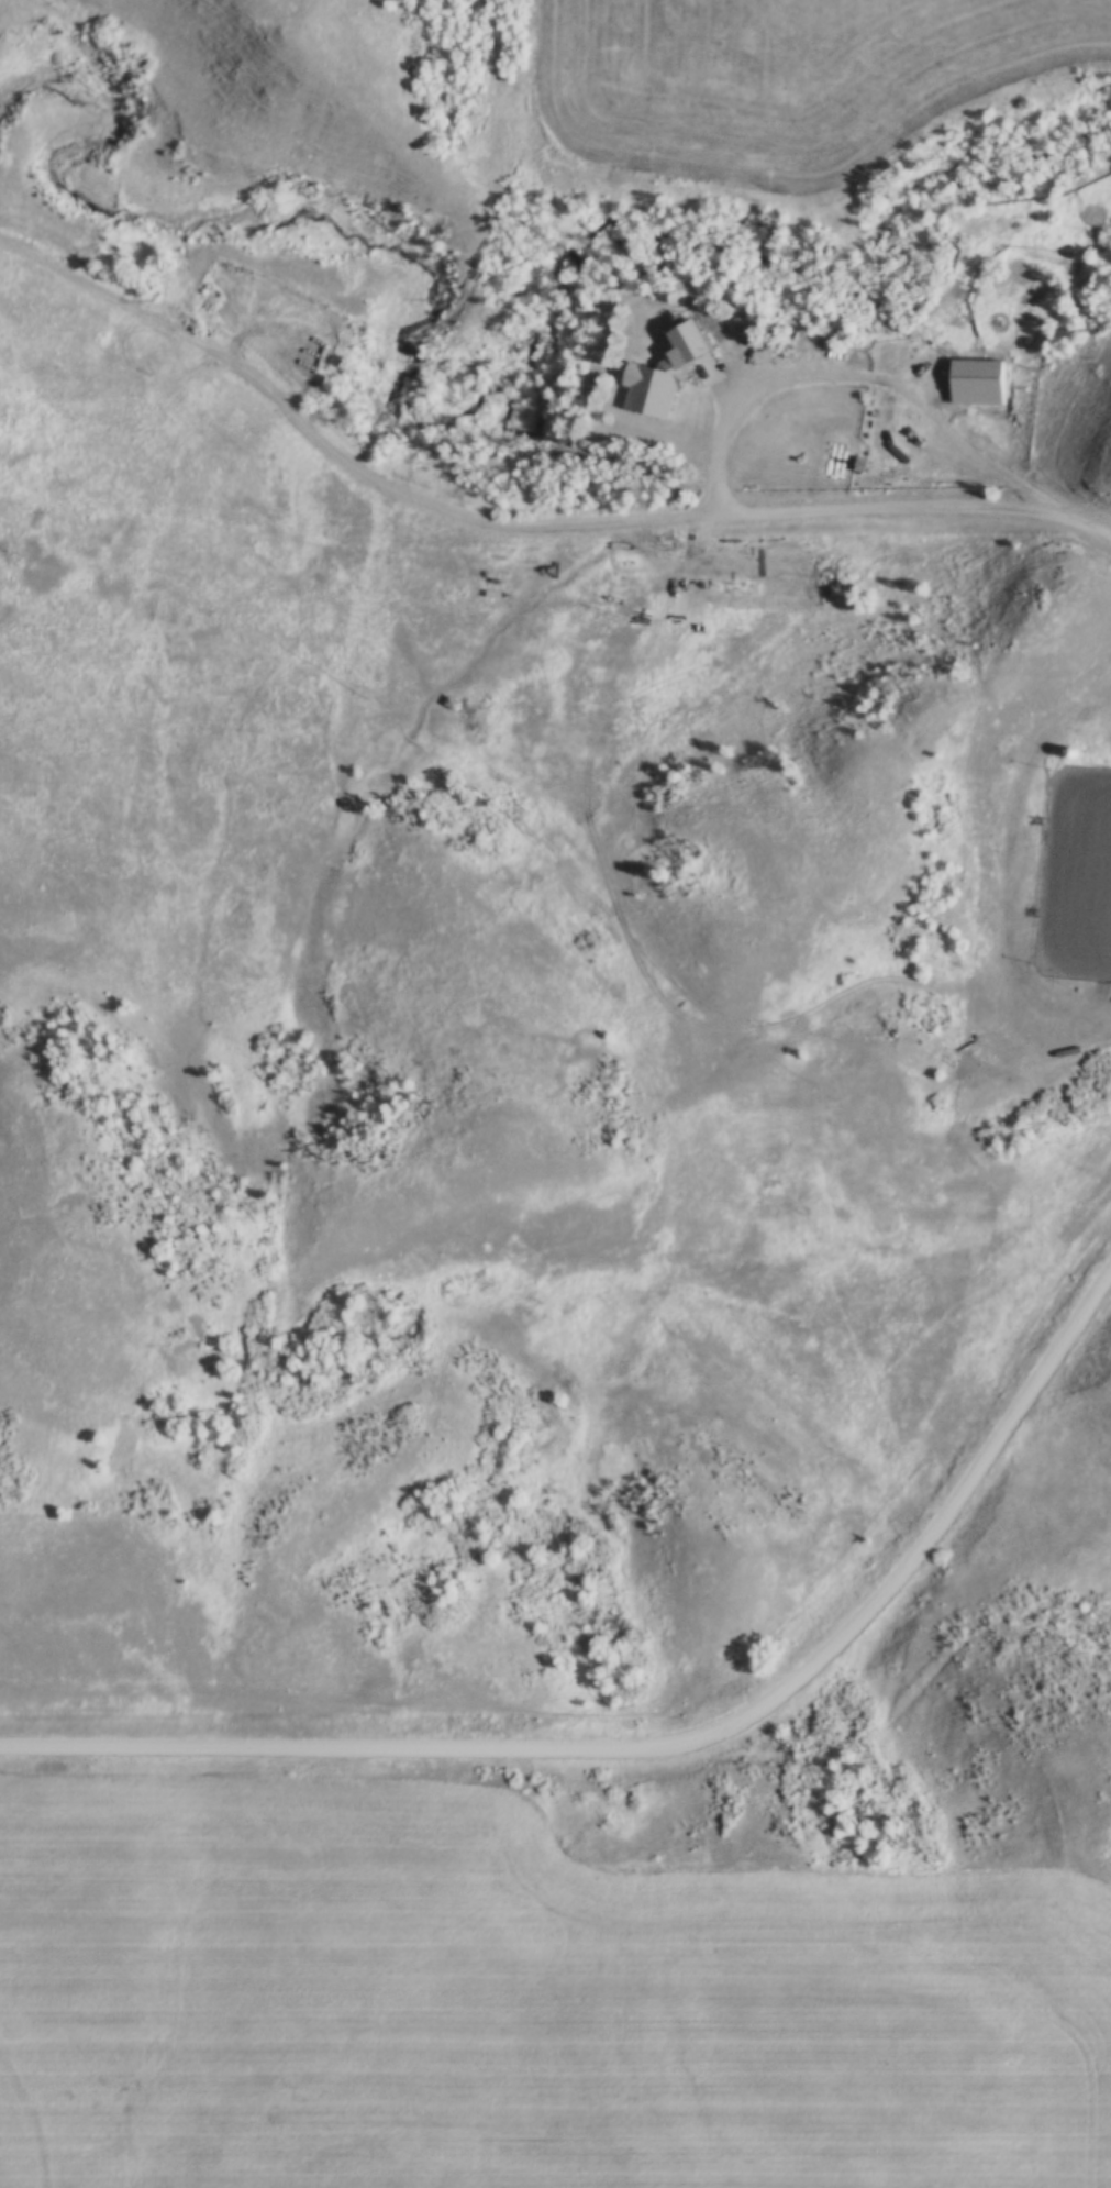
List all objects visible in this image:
building: (979, 244)
road: (789, 377)
building: (652, 388)
road: (348, 454)
road: (821, 513)
road: (664, 1750)

